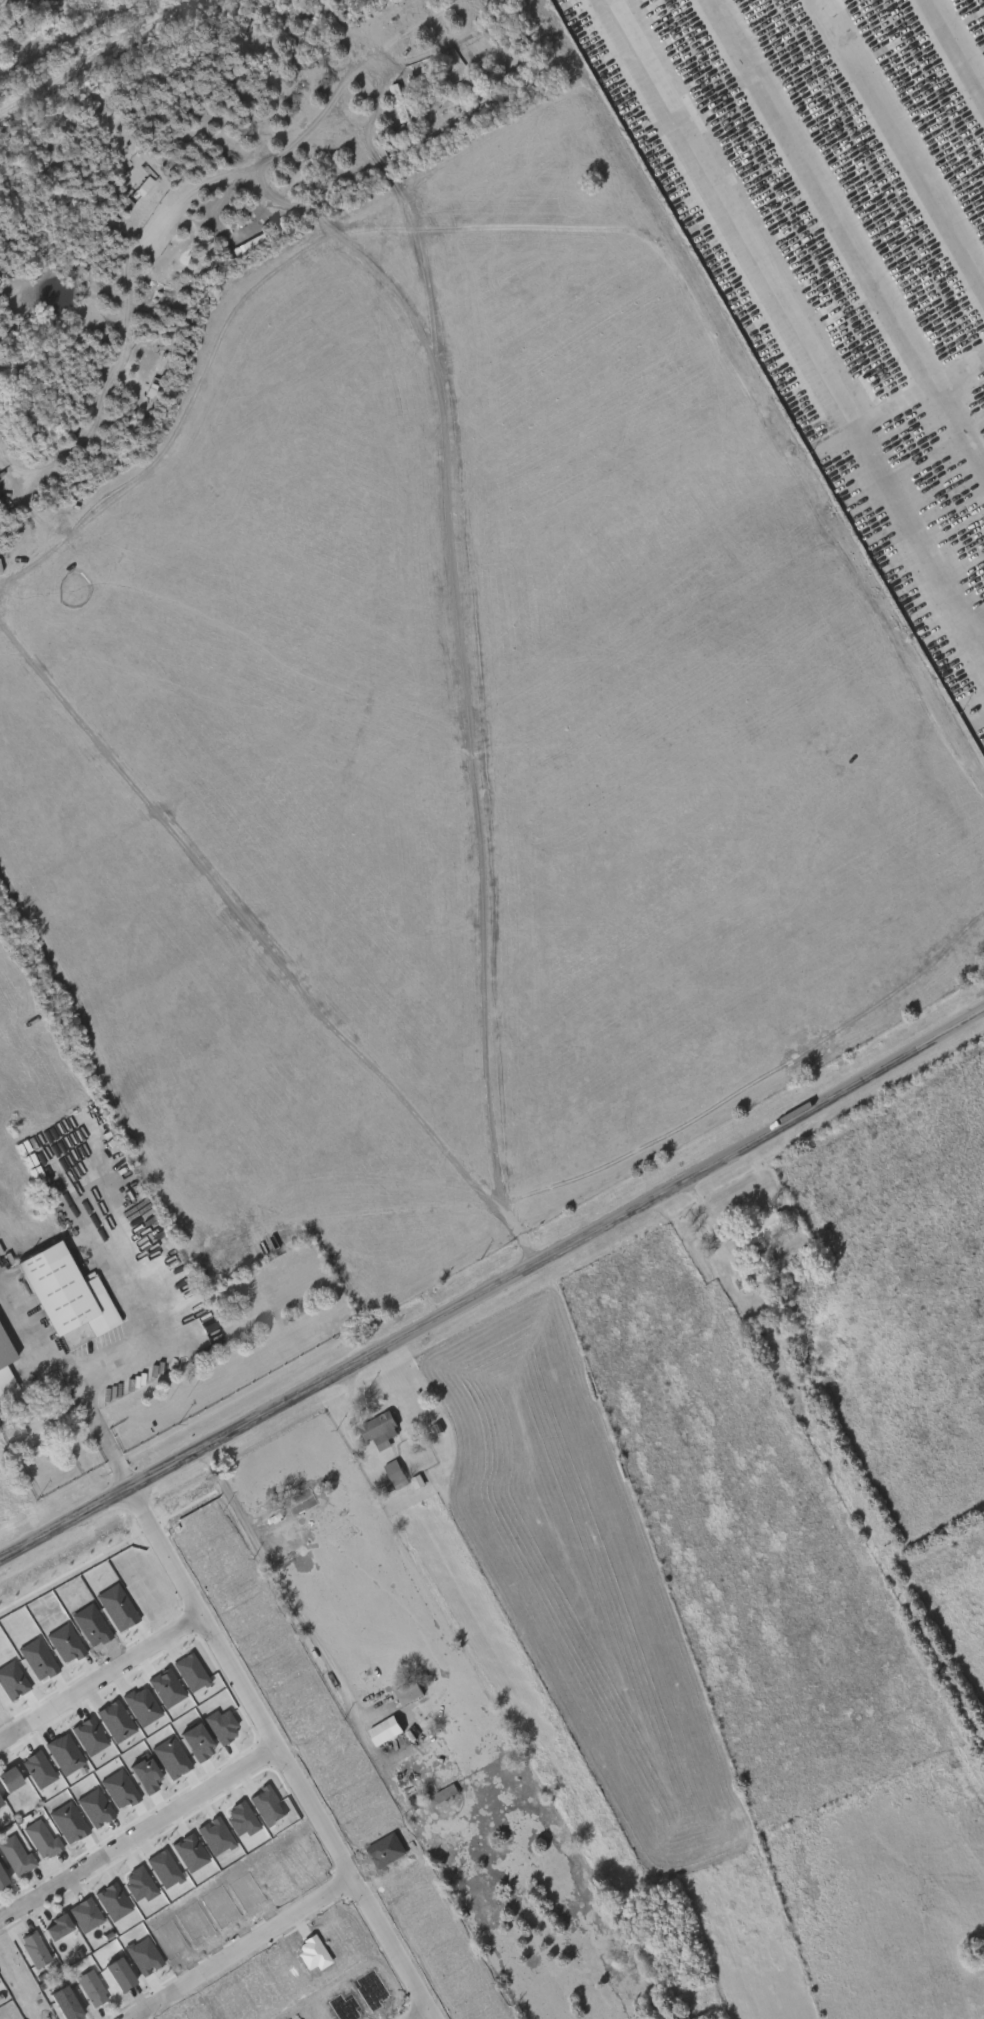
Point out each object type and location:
road: (96, 55)
building: (398, 101)
road: (377, 106)
road: (151, 292)
building: (753, 299)
road: (797, 322)
road: (706, 1222)
building: (753, 1234)
road: (493, 1288)
building: (61, 1292)
building: (4, 1371)
road: (89, 1403)
building: (378, 1428)
building: (394, 1474)
road: (280, 1593)
building: (117, 1608)
building: (66, 1644)
building: (38, 1660)
road: (99, 1673)
building: (190, 1673)
building: (12, 1681)
building: (167, 1689)
building: (408, 1691)
building: (142, 1707)
building: (116, 1722)
building: (385, 1732)
building: (89, 1737)
building: (65, 1755)
road: (278, 1755)
building: (38, 1770)
building: (7, 1776)
building: (446, 1792)
building: (0, 1803)
building: (69, 1824)
road: (136, 1827)
building: (42, 1840)
building: (16, 1857)
building: (1, 1879)
building: (86, 1915)
building: (58, 1927)
building: (33, 1947)
road: (236, 1947)
building: (116, 1972)
building: (90, 1986)
building: (62, 2002)
road: (415, 2013)
road: (132, 2017)

